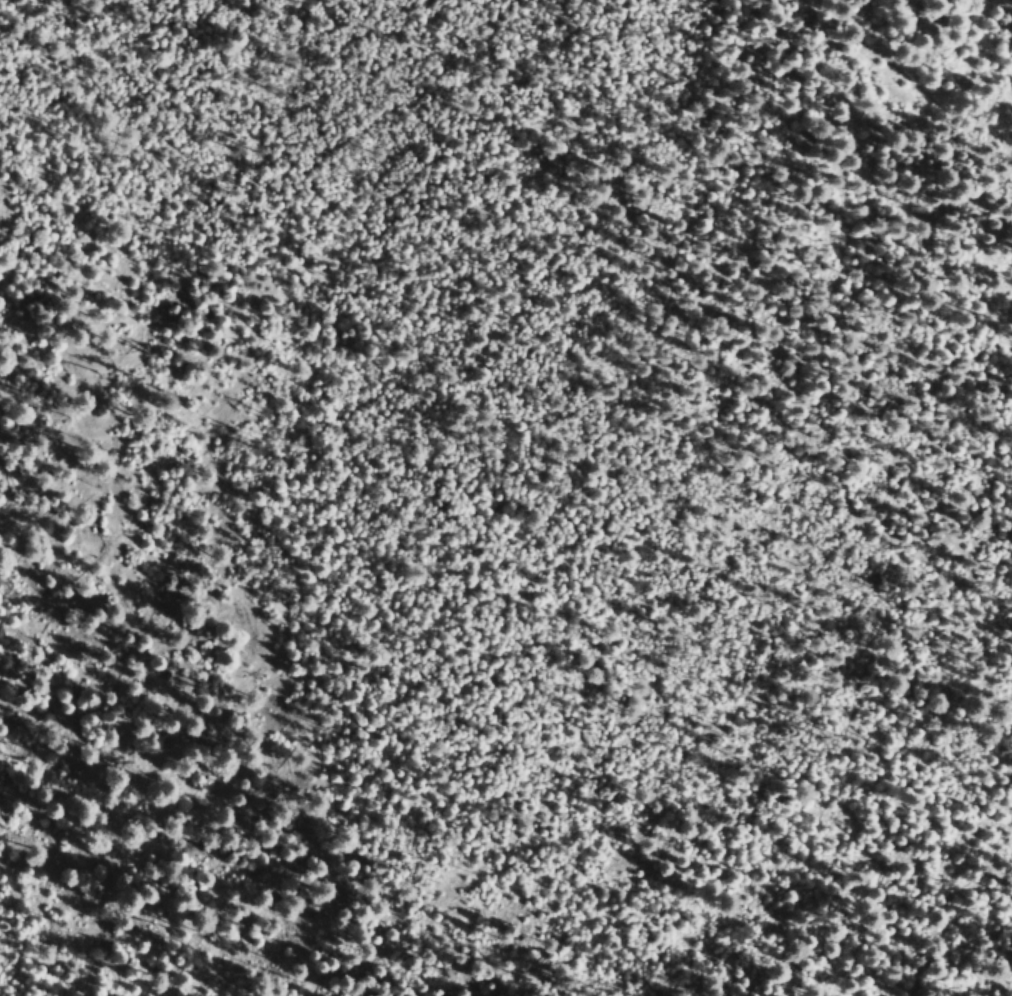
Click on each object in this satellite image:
road: (951, 51)

